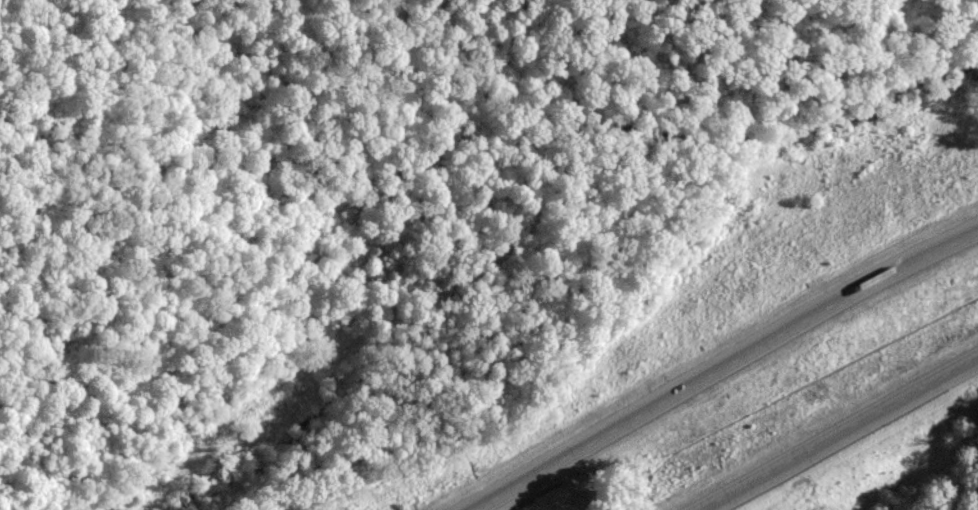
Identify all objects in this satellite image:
road: (730, 366)
road: (839, 433)

